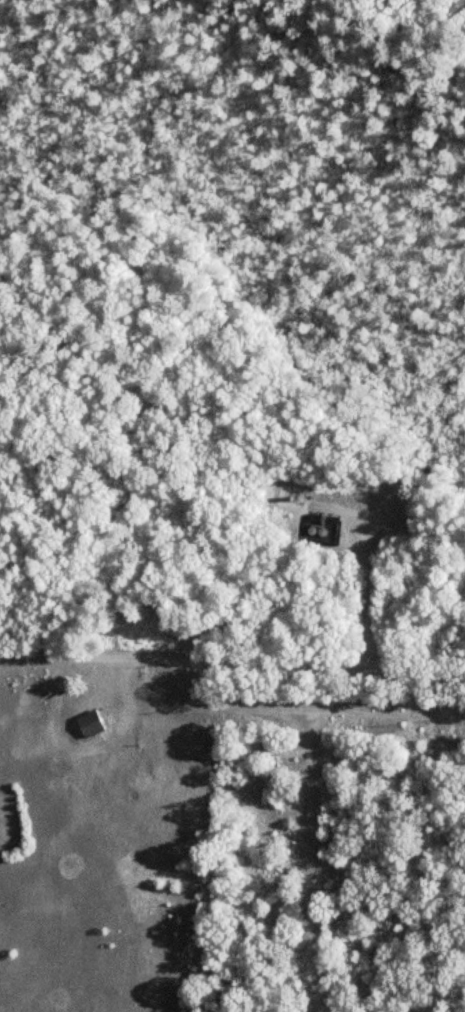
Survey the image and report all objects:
road: (232, 666)
building: (87, 724)
building: (118, 743)
road: (310, 837)

